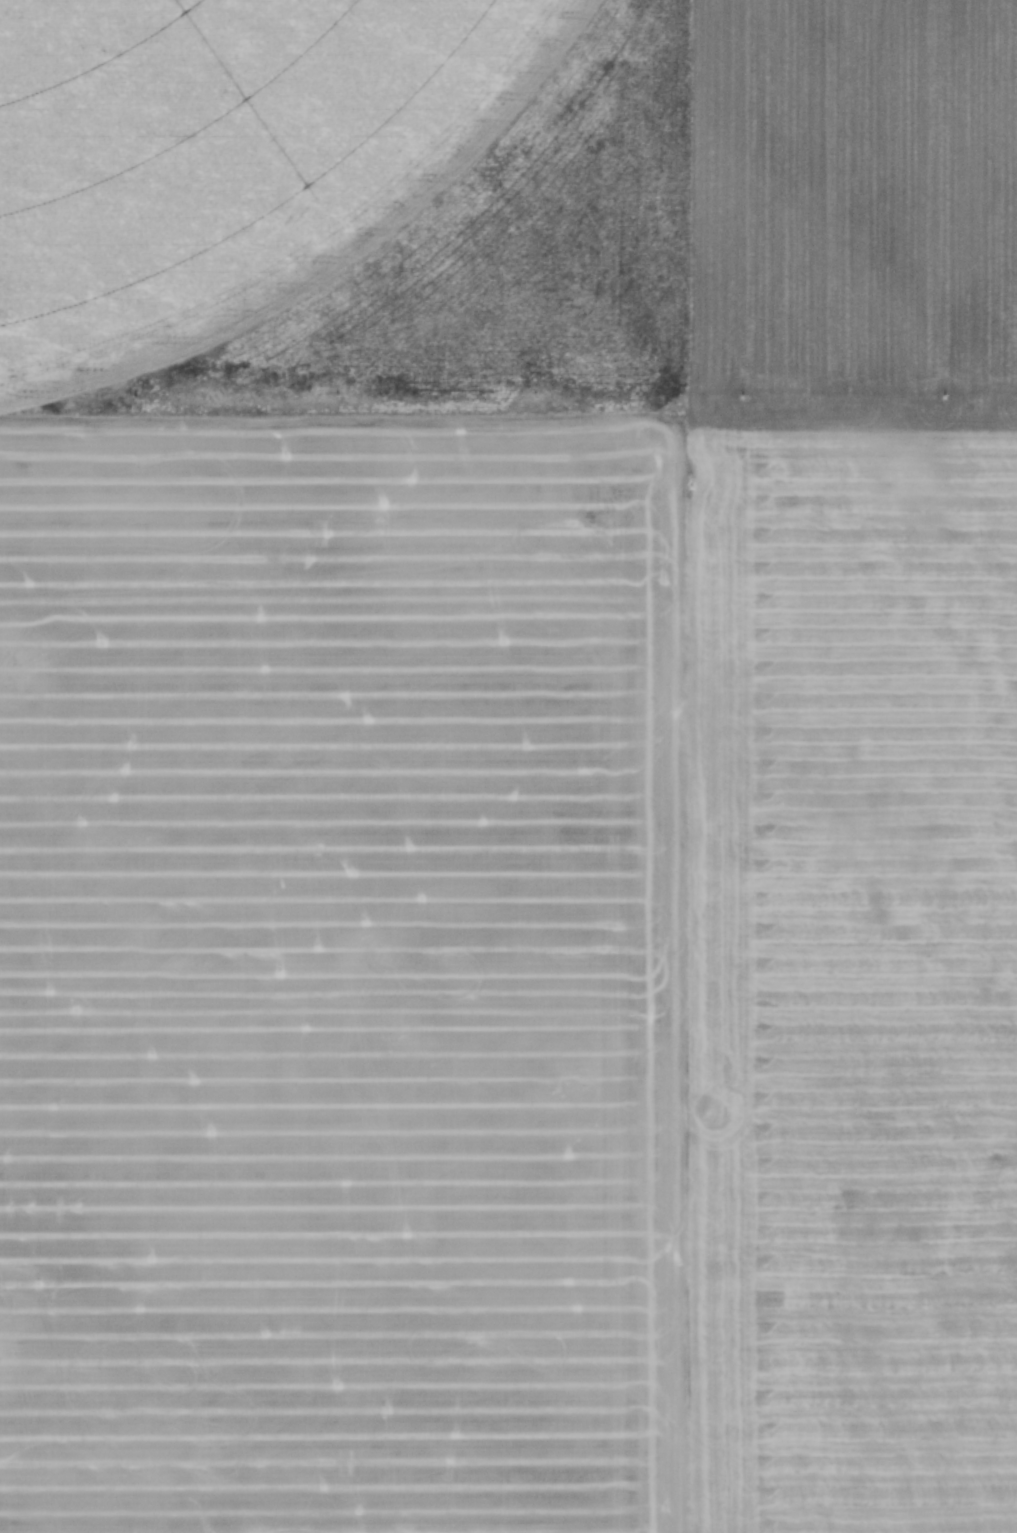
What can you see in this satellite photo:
crop: (508, 766)

